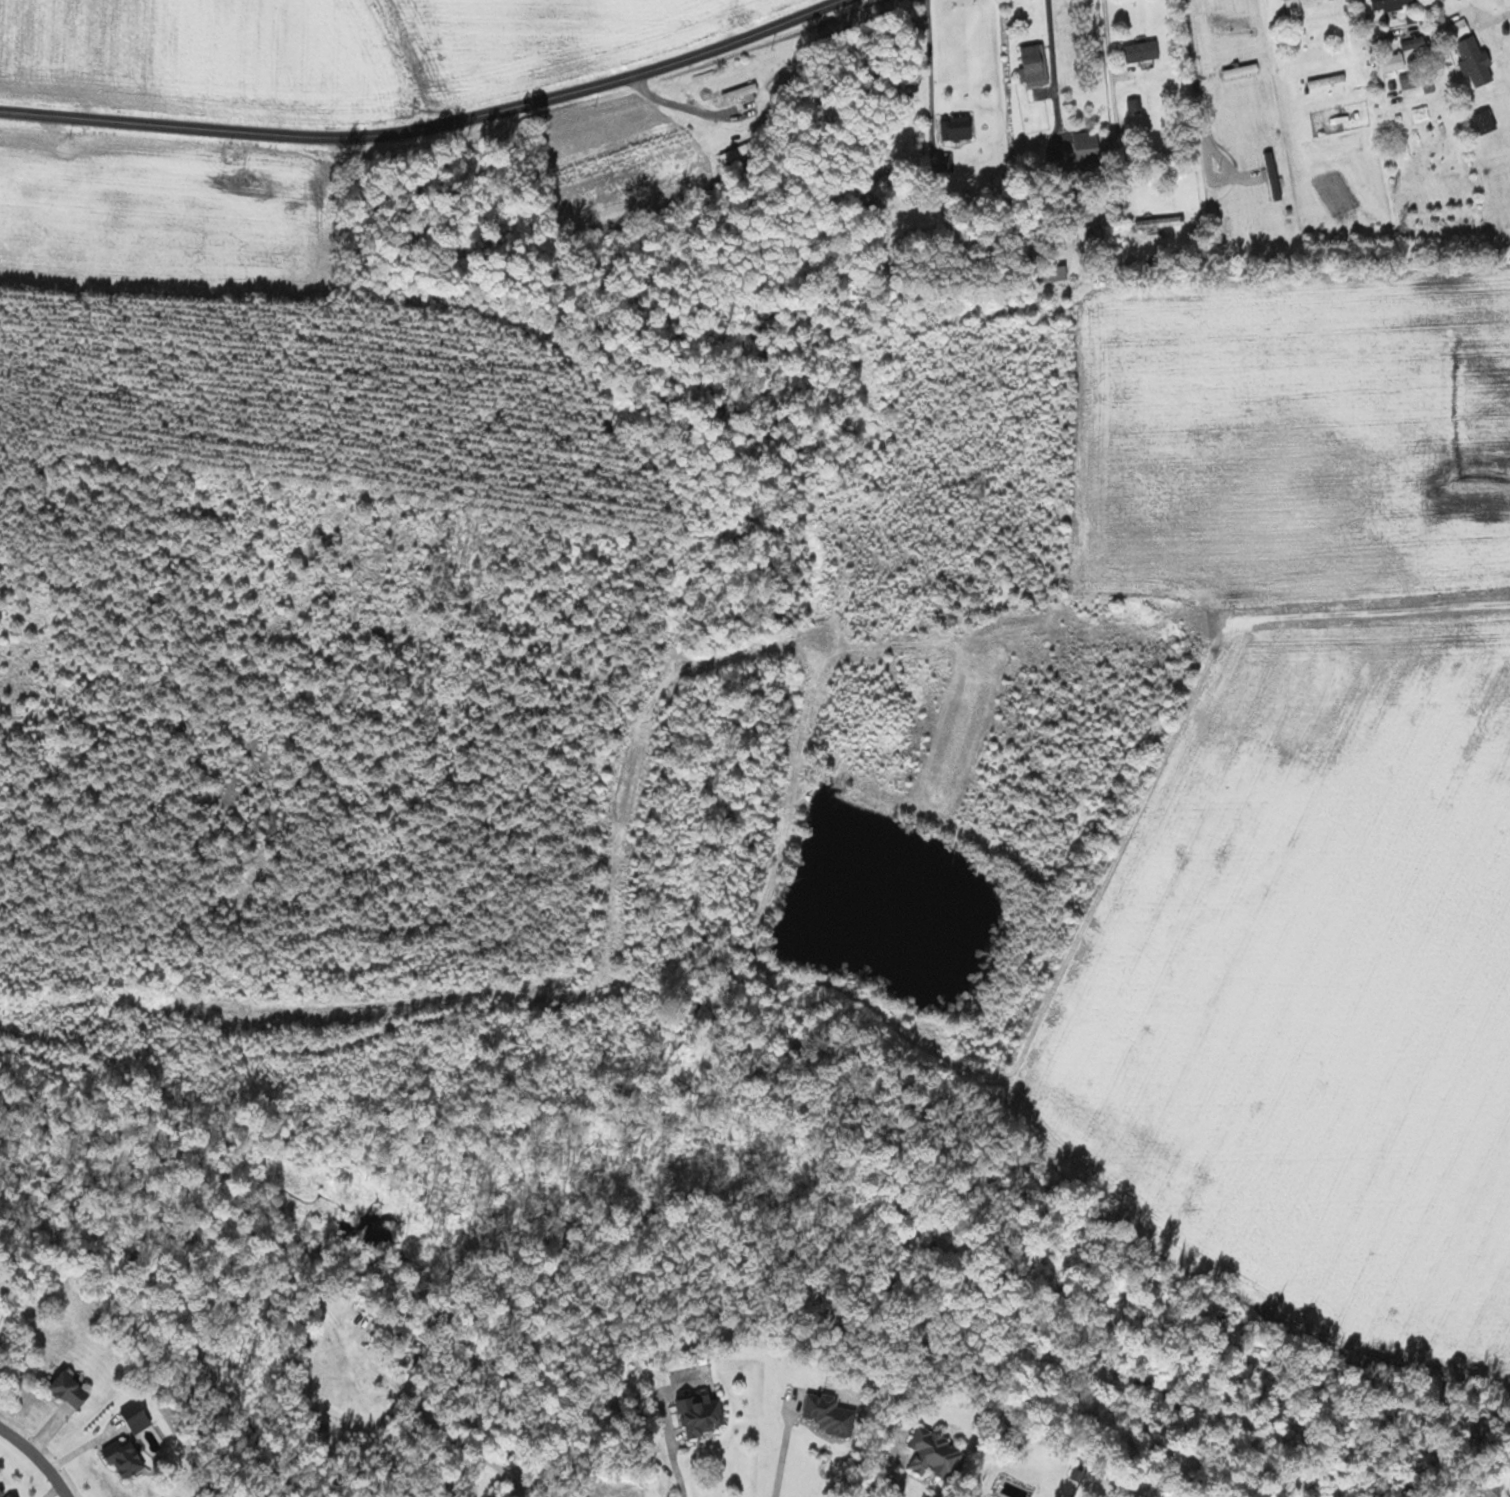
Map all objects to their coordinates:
building: (1393, 4)
building: (1294, 5)
building: (1461, 27)
building: (1414, 42)
building: (1144, 50)
building: (1476, 60)
road: (934, 63)
road: (1111, 63)
building: (1394, 64)
building: (1036, 65)
road: (1054, 75)
building: (1410, 80)
building: (744, 93)
building: (1135, 105)
road: (1199, 105)
building: (1487, 121)
road: (429, 126)
building: (958, 128)
building: (1089, 147)
building: (1162, 222)
building: (1092, 241)
building: (1057, 273)
building: (73, 1388)
building: (830, 1412)
building: (703, 1413)
building: (139, 1415)
road: (667, 1423)
building: (936, 1452)
building: (127, 1457)
road: (35, 1460)
building: (4, 1493)

